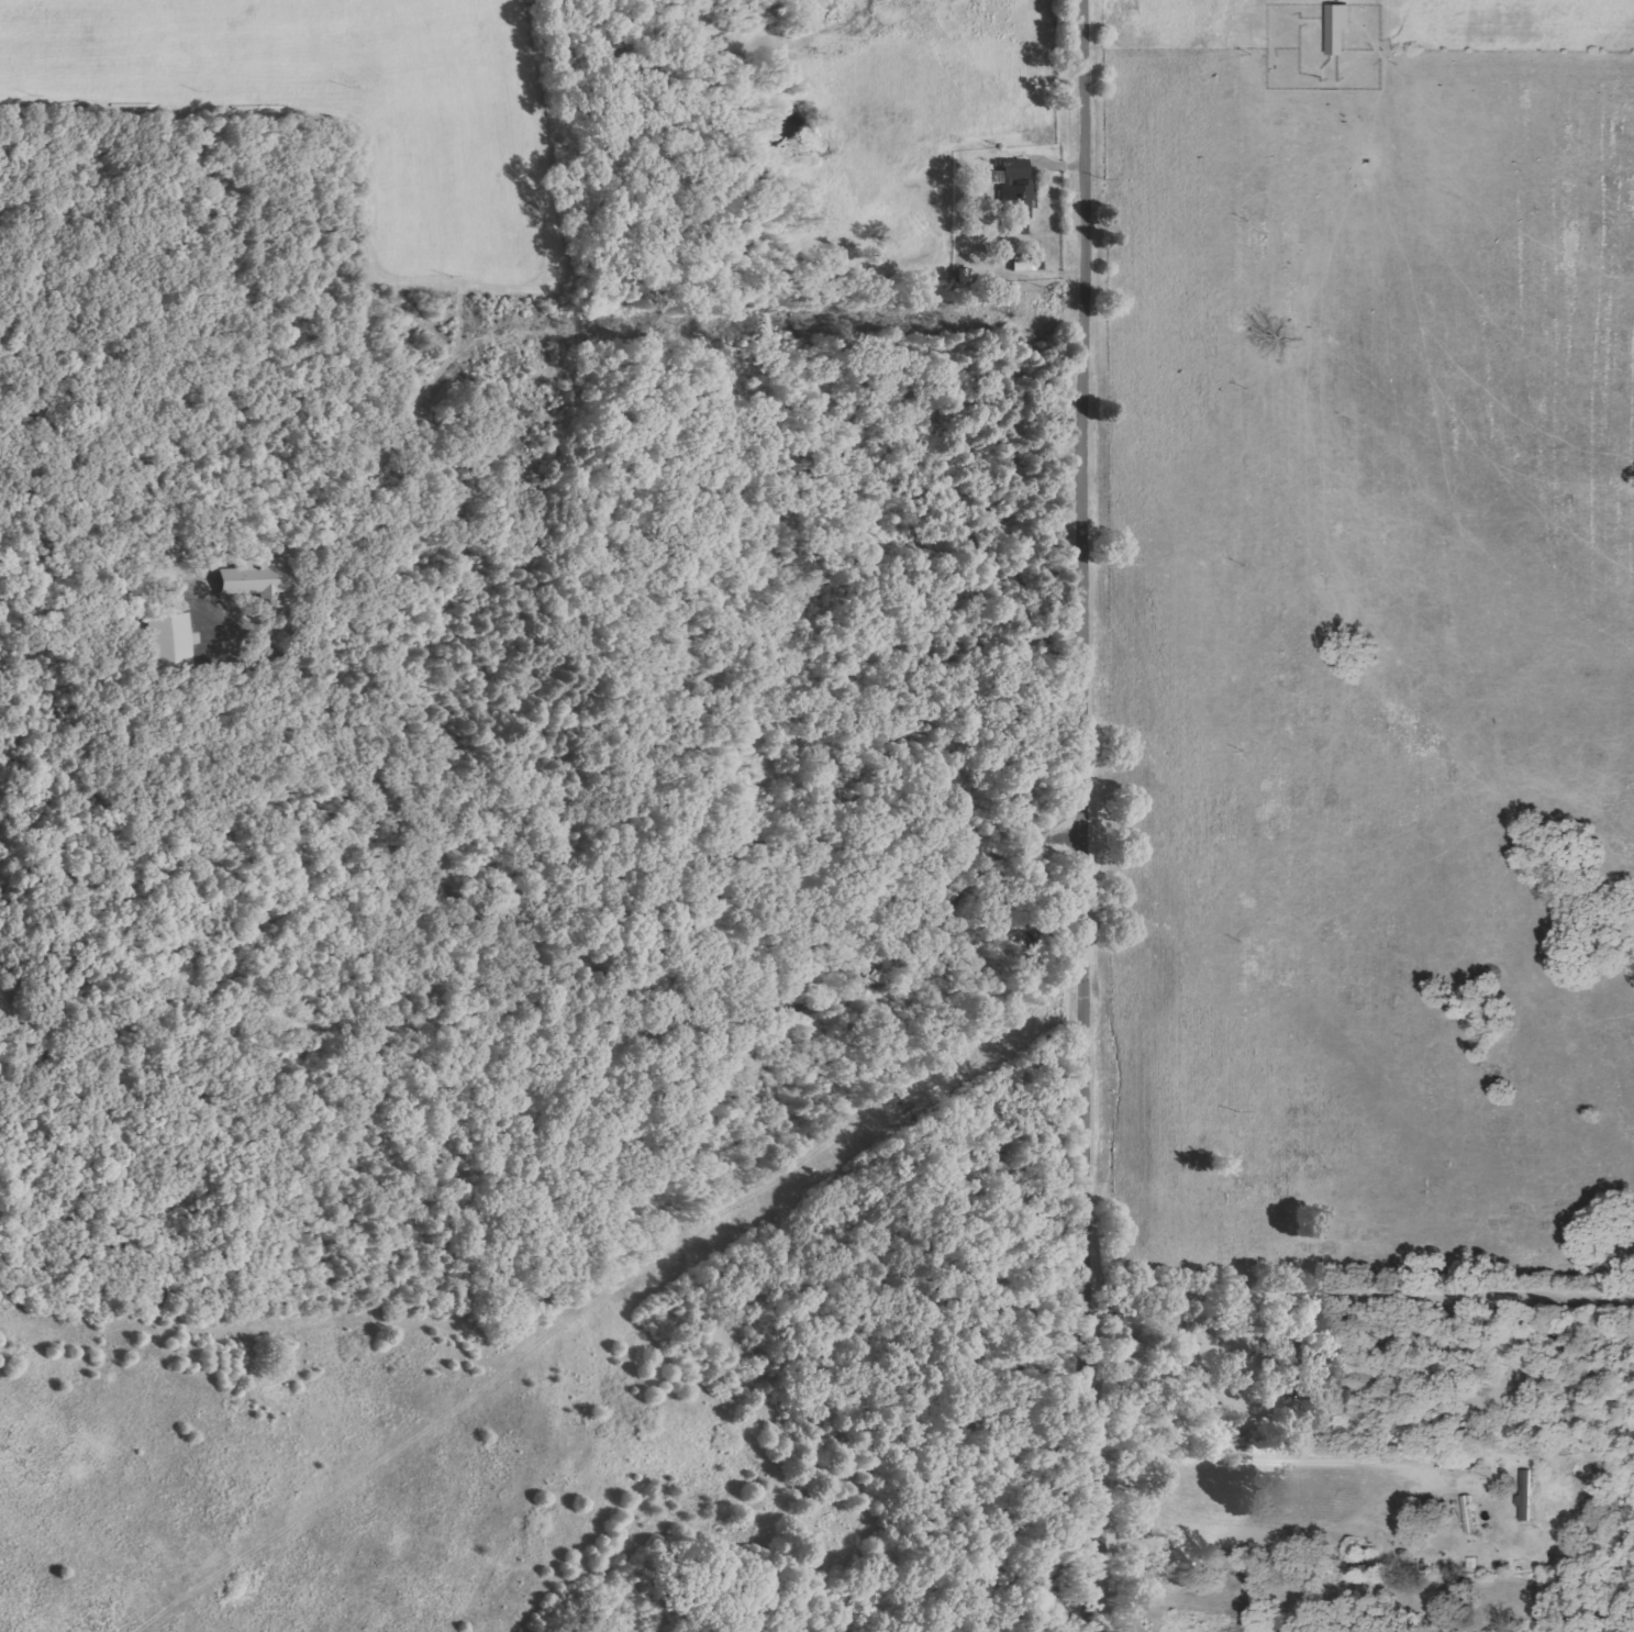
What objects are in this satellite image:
building: (1342, 29)
building: (1019, 196)
building: (256, 577)
road: (1085, 815)
road: (1360, 1280)
building: (1529, 1495)

